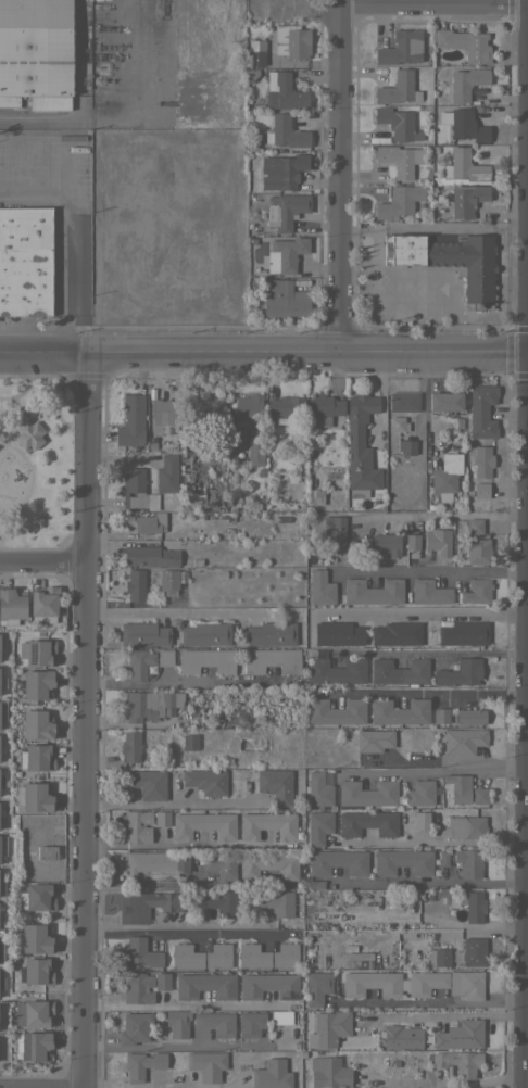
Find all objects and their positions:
road: (432, 4)
building: (291, 40)
building: (464, 43)
building: (400, 47)
building: (36, 51)
building: (254, 52)
road: (79, 60)
building: (465, 83)
building: (397, 88)
building: (282, 91)
building: (8, 101)
building: (104, 103)
road: (125, 119)
building: (397, 123)
building: (466, 125)
building: (285, 131)
building: (399, 159)
building: (462, 168)
building: (281, 170)
road: (338, 174)
building: (466, 199)
building: (399, 201)
building: (285, 210)
road: (433, 227)
road: (72, 243)
building: (285, 254)
building: (25, 261)
building: (449, 261)
building: (284, 299)
road: (264, 349)
building: (403, 401)
building: (445, 401)
building: (286, 407)
building: (247, 408)
building: (324, 408)
building: (164, 409)
building: (205, 410)
building: (481, 412)
building: (130, 420)
building: (397, 423)
building: (28, 434)
building: (360, 446)
building: (405, 446)
building: (254, 452)
park: (43, 453)
building: (481, 460)
building: (166, 473)
building: (445, 473)
building: (136, 490)
building: (480, 490)
building: (188, 491)
building: (316, 496)
road: (442, 516)
building: (150, 522)
building: (474, 526)
building: (334, 534)
building: (412, 541)
building: (438, 541)
building: (382, 543)
building: (477, 551)
building: (150, 556)
road: (43, 561)
road: (436, 570)
building: (168, 579)
building: (137, 586)
building: (320, 587)
building: (373, 591)
building: (476, 591)
building: (429, 592)
building: (12, 603)
building: (42, 603)
road: (424, 613)
road: (174, 615)
building: (463, 632)
building: (143, 633)
building: (205, 633)
building: (271, 633)
building: (338, 633)
building: (395, 633)
building: (37, 651)
road: (424, 653)
building: (164, 657)
building: (205, 660)
building: (271, 660)
building: (139, 662)
building: (335, 670)
building: (398, 671)
building: (458, 672)
building: (2, 682)
building: (37, 683)
road: (175, 686)
road: (427, 692)
building: (151, 704)
building: (2, 710)
building: (336, 710)
building: (400, 710)
building: (441, 714)
building: (469, 716)
road: (86, 721)
building: (37, 723)
building: (375, 738)
building: (463, 739)
building: (189, 741)
building: (130, 745)
building: (37, 757)
road: (432, 771)
building: (205, 781)
building: (147, 783)
building: (275, 784)
building: (457, 786)
building: (319, 788)
building: (420, 792)
building: (367, 793)
building: (480, 795)
building: (36, 796)
road: (173, 802)
building: (162, 818)
building: (420, 819)
building: (366, 822)
building: (203, 824)
building: (267, 824)
building: (137, 825)
building: (319, 826)
building: (464, 826)
road: (427, 842)
road: (187, 844)
building: (47, 852)
building: (0, 858)
building: (156, 861)
building: (338, 861)
building: (403, 861)
building: (469, 861)
building: (221, 863)
building: (268, 864)
road: (148, 884)
road: (428, 884)
building: (36, 896)
building: (226, 901)
building: (277, 902)
building: (148, 903)
building: (473, 904)
road: (190, 934)
building: (33, 938)
building: (469, 951)
building: (140, 952)
building: (218, 954)
building: (285, 954)
building: (186, 956)
building: (253, 956)
building: (438, 957)
building: (309, 959)
building: (355, 960)
building: (37, 970)
building: (162, 981)
building: (392, 983)
building: (466, 984)
building: (205, 985)
building: (268, 985)
building: (317, 986)
building: (137, 987)
road: (181, 1004)
building: (34, 1013)
road: (440, 1014)
building: (177, 1022)
building: (240, 1022)
building: (134, 1027)
building: (328, 1028)
building: (461, 1034)
building: (401, 1036)
building: (32, 1046)
road: (171, 1046)
building: (458, 1062)
building: (141, 1064)
building: (206, 1064)
building: (330, 1073)
building: (272, 1074)
road: (449, 1083)
road: (165, 1084)
road: (41, 1087)

